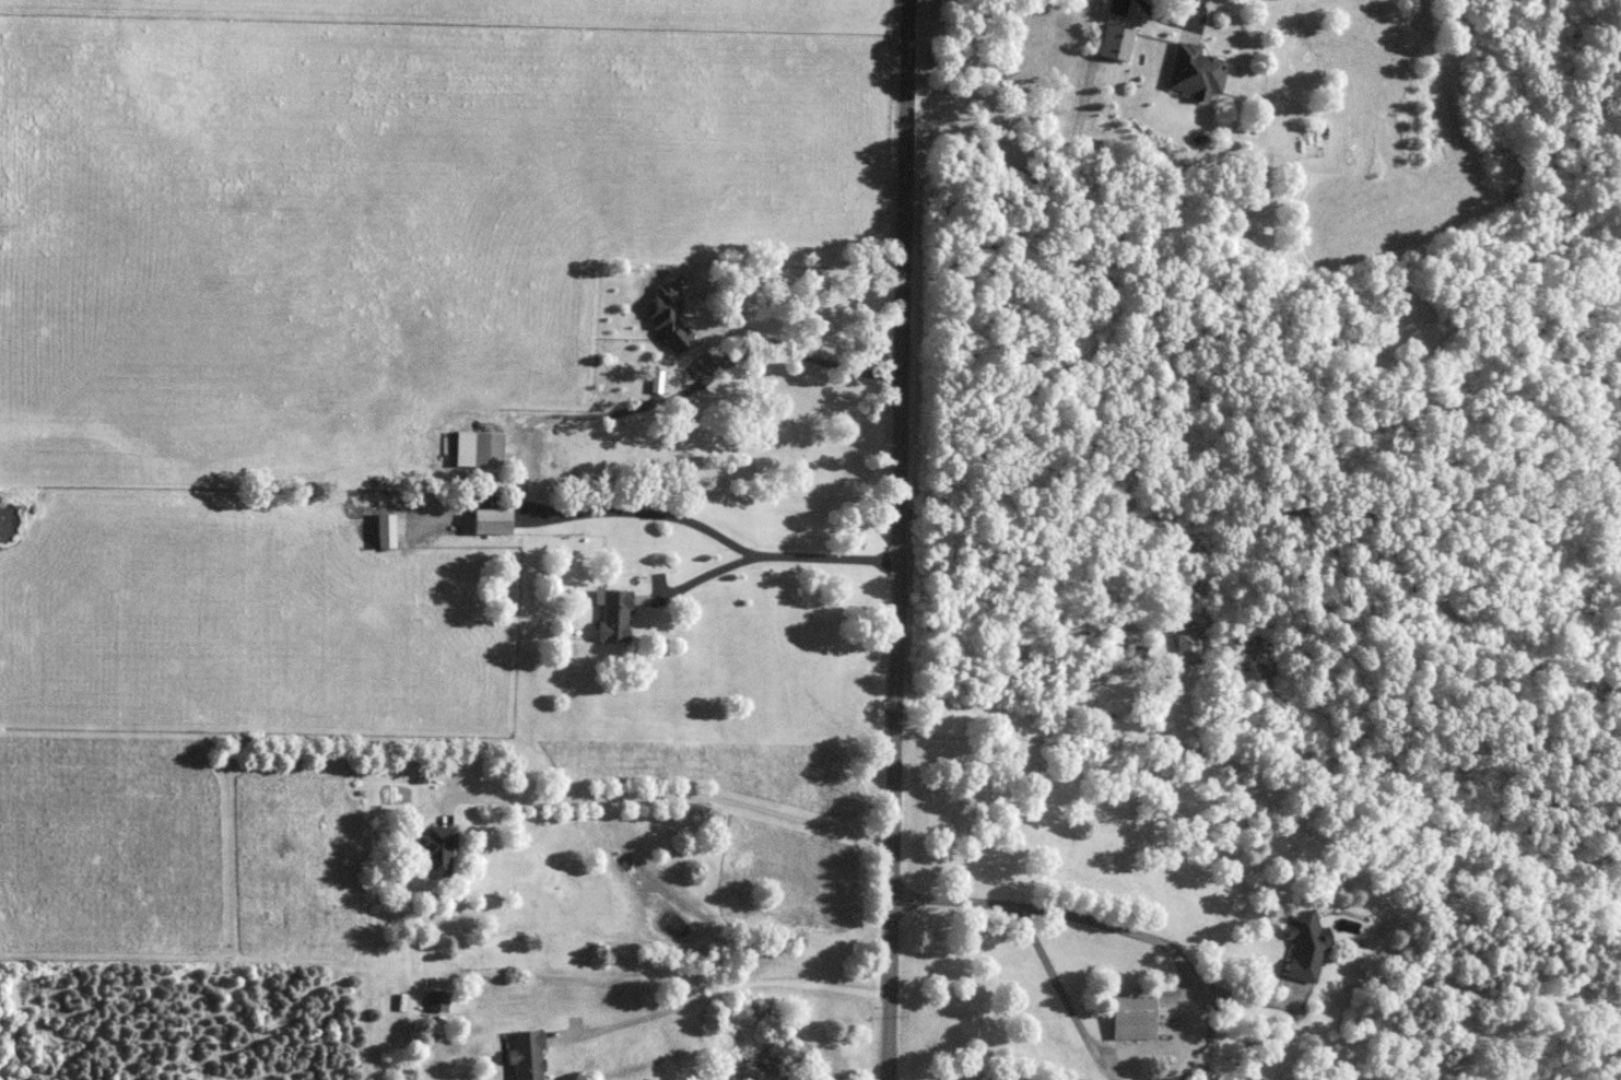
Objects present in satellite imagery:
road: (1163, 20)
building: (1114, 44)
building: (1193, 72)
road: (795, 350)
building: (475, 448)
road: (685, 517)
building: (486, 520)
building: (383, 530)
road: (885, 539)
road: (1095, 592)
building: (611, 614)
building: (1184, 647)
road: (674, 798)
building: (434, 852)
road: (947, 897)
road: (1161, 943)
building: (1302, 944)
road: (719, 990)
road: (1062, 996)
road: (1238, 997)
building: (436, 1001)
building: (1130, 1018)
building: (524, 1055)

